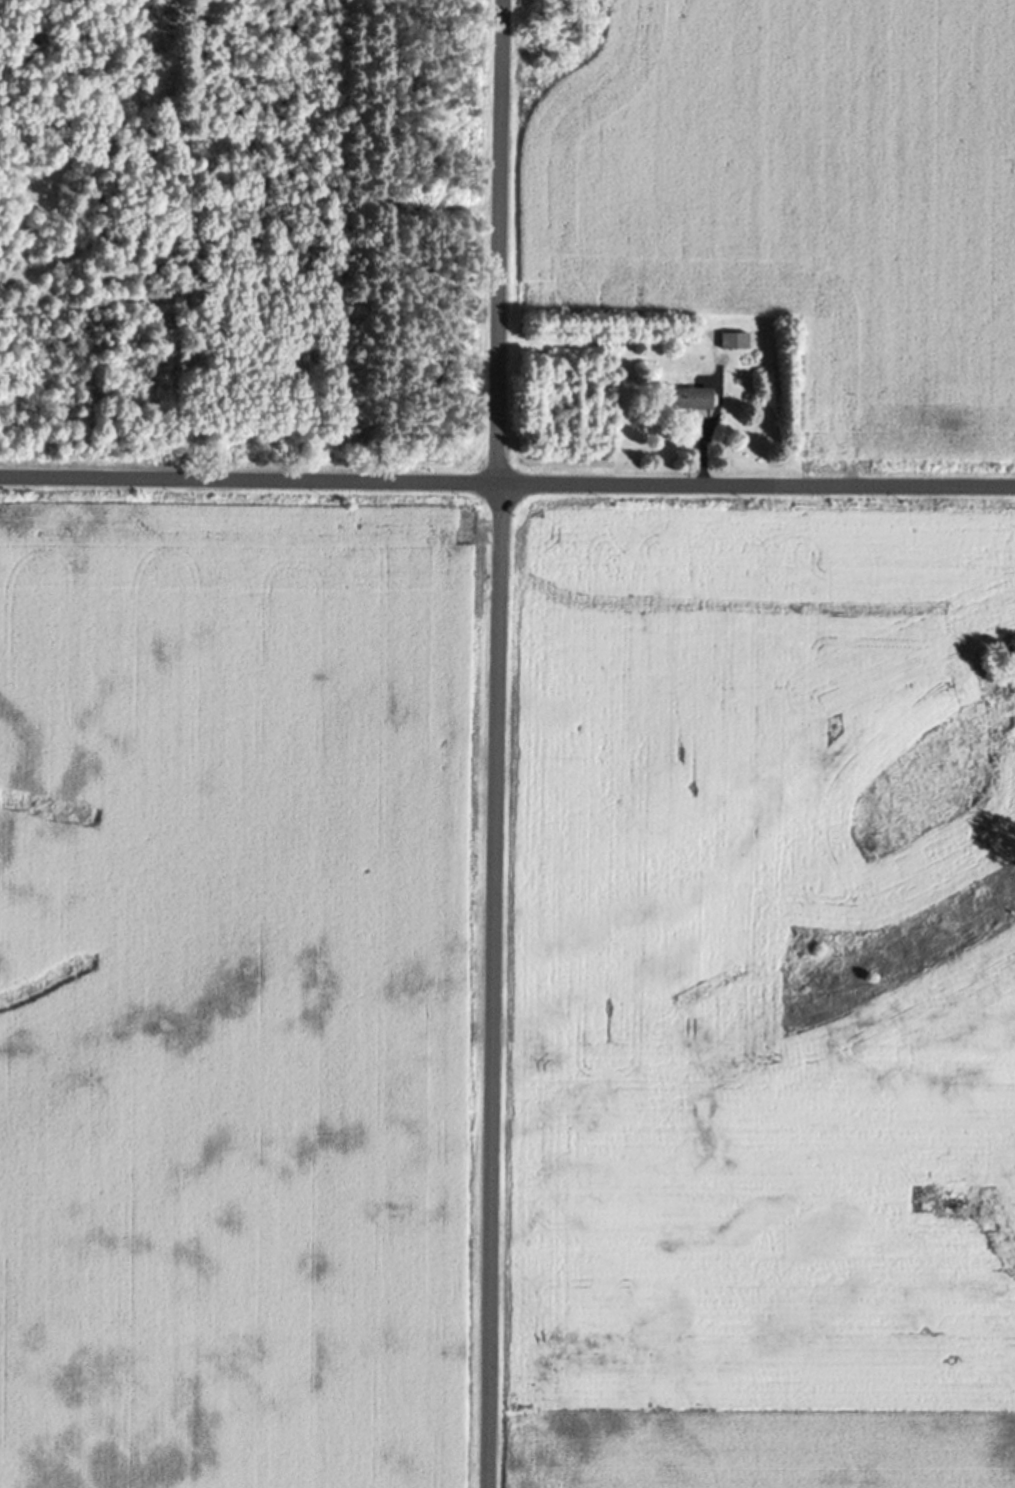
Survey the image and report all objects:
building: (581, 52)
building: (734, 345)
building: (689, 403)
road: (507, 486)
road: (496, 743)

